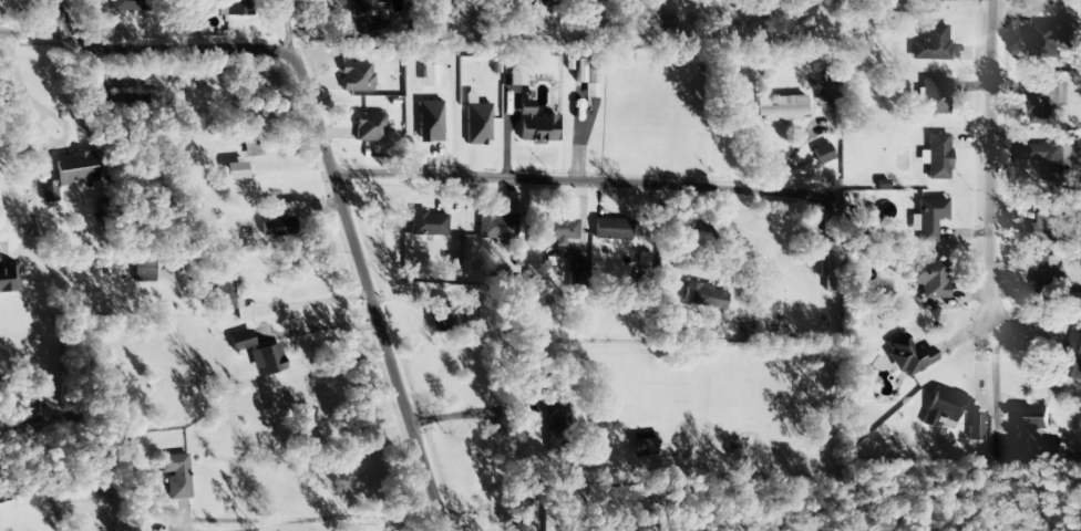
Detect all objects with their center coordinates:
building: (934, 1)
building: (128, 4)
building: (238, 8)
road: (18, 18)
building: (363, 19)
building: (1051, 40)
building: (930, 44)
building: (515, 75)
building: (356, 76)
building: (823, 92)
building: (934, 96)
building: (1040, 102)
building: (123, 105)
building: (779, 107)
building: (428, 121)
building: (476, 124)
building: (533, 125)
building: (369, 127)
building: (821, 154)
building: (936, 157)
road: (329, 162)
road: (985, 164)
building: (1043, 165)
building: (73, 168)
road: (565, 169)
building: (234, 170)
building: (929, 218)
building: (280, 222)
building: (428, 223)
building: (495, 226)
building: (1047, 226)
building: (610, 229)
building: (558, 231)
building: (575, 273)
building: (927, 278)
building: (8, 279)
building: (1041, 279)
building: (227, 295)
building: (702, 296)
road: (312, 302)
building: (442, 317)
road: (321, 327)
building: (239, 341)
building: (1073, 354)
building: (908, 355)
building: (266, 360)
building: (944, 408)
building: (554, 416)
building: (974, 426)
building: (1020, 431)
building: (641, 449)
building: (174, 476)
road: (387, 525)

